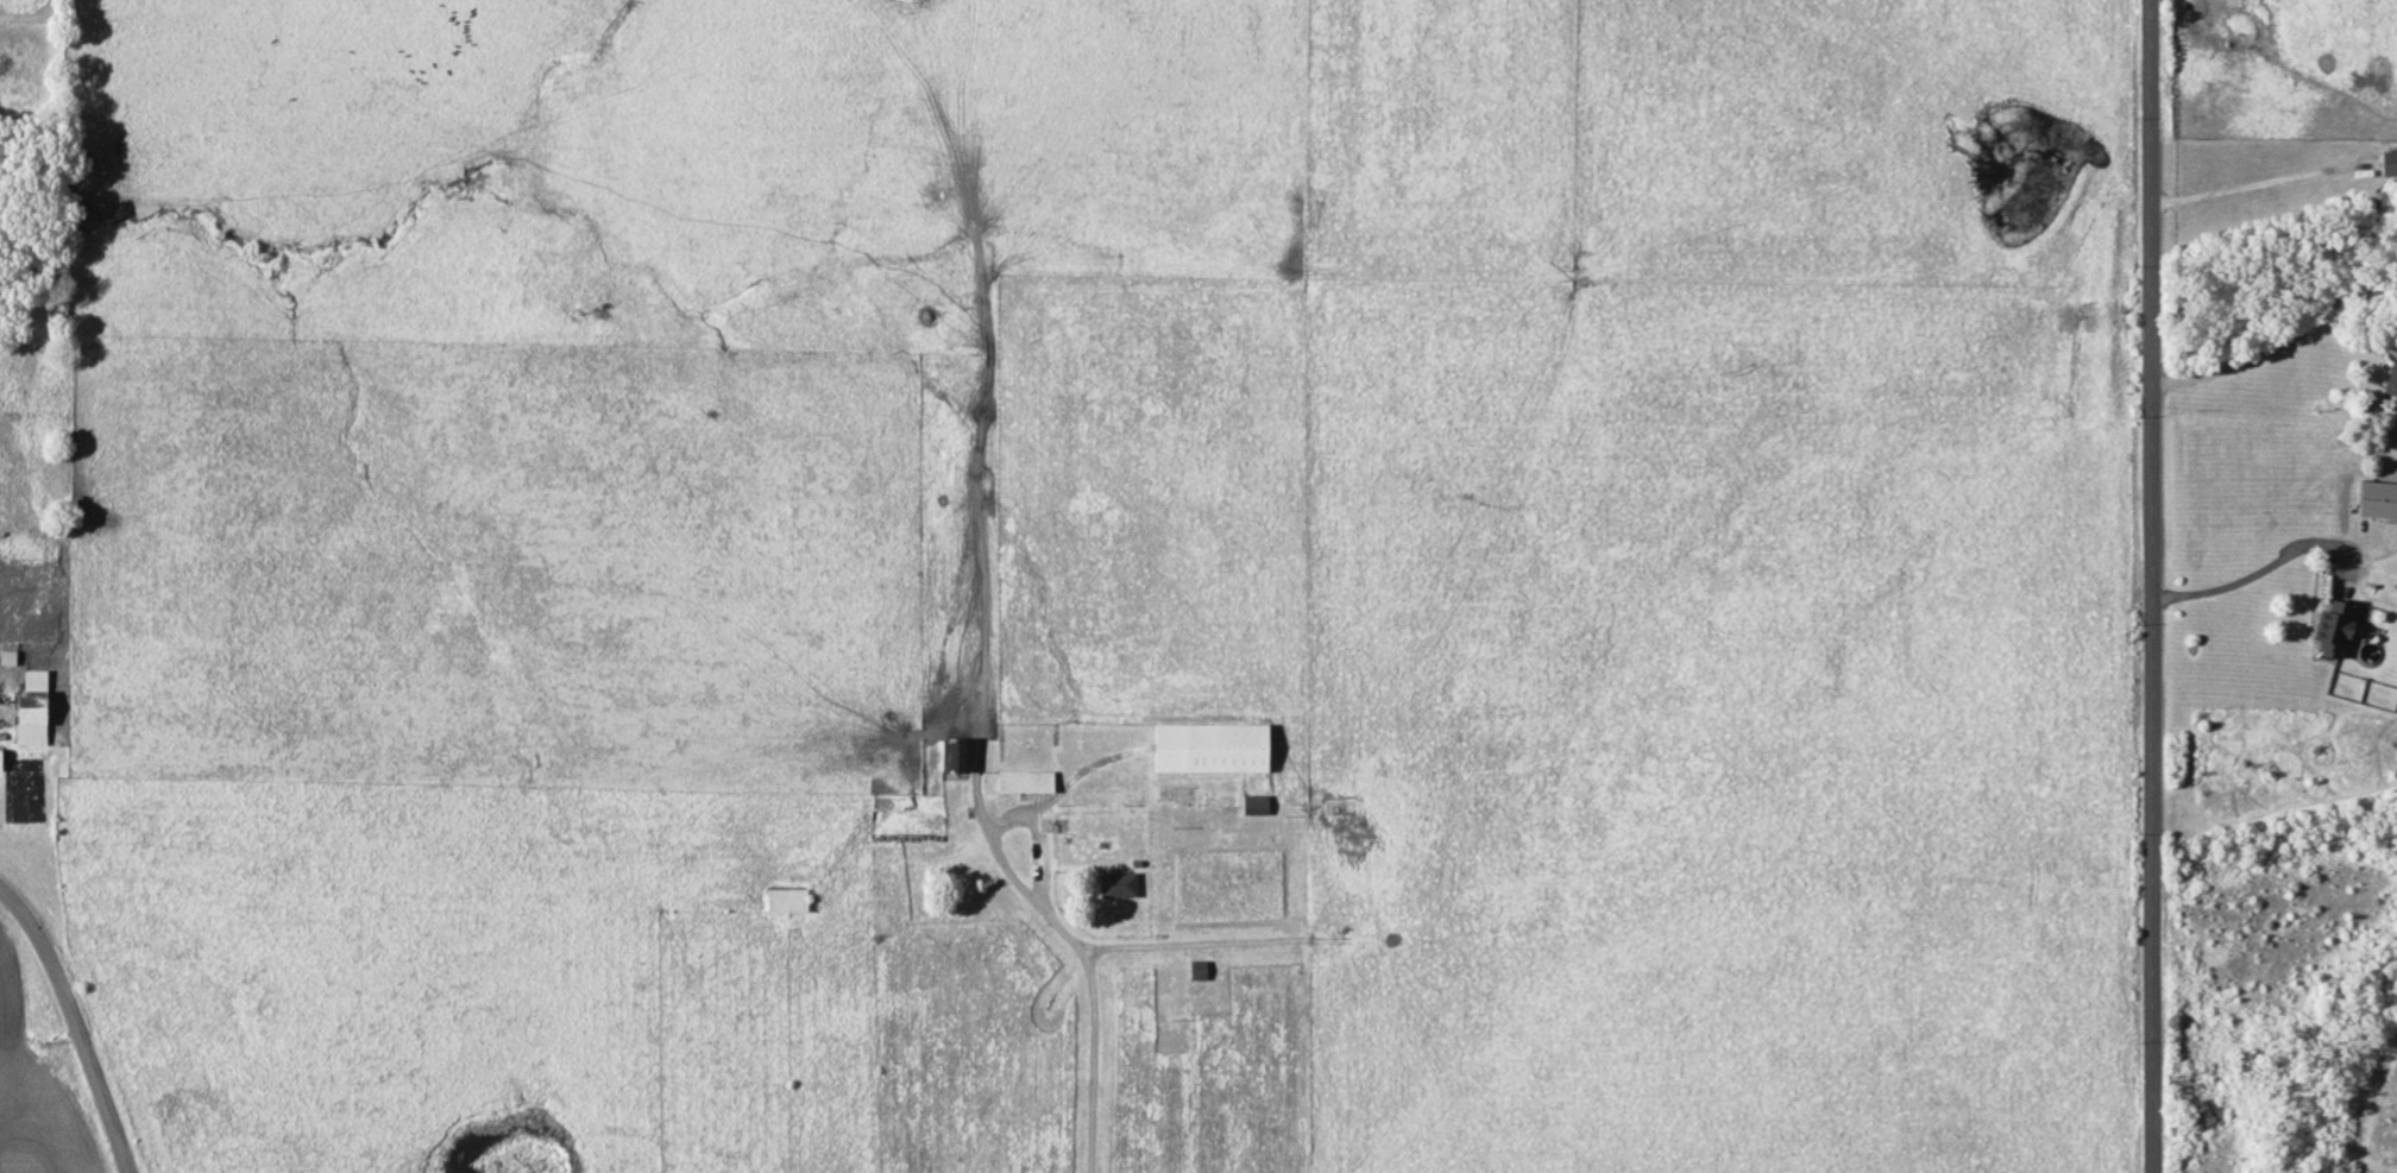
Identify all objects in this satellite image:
building: (2387, 162)
road: (2279, 346)
building: (2390, 378)
road: (2259, 569)
road: (2150, 586)
building: (2332, 626)
building: (7, 656)
building: (31, 707)
building: (1209, 746)
building: (954, 753)
building: (0, 768)
building: (1024, 780)
building: (1253, 803)
building: (1116, 883)
building: (786, 897)
road: (1081, 957)
road: (71, 1023)
crop: (37, 1099)

